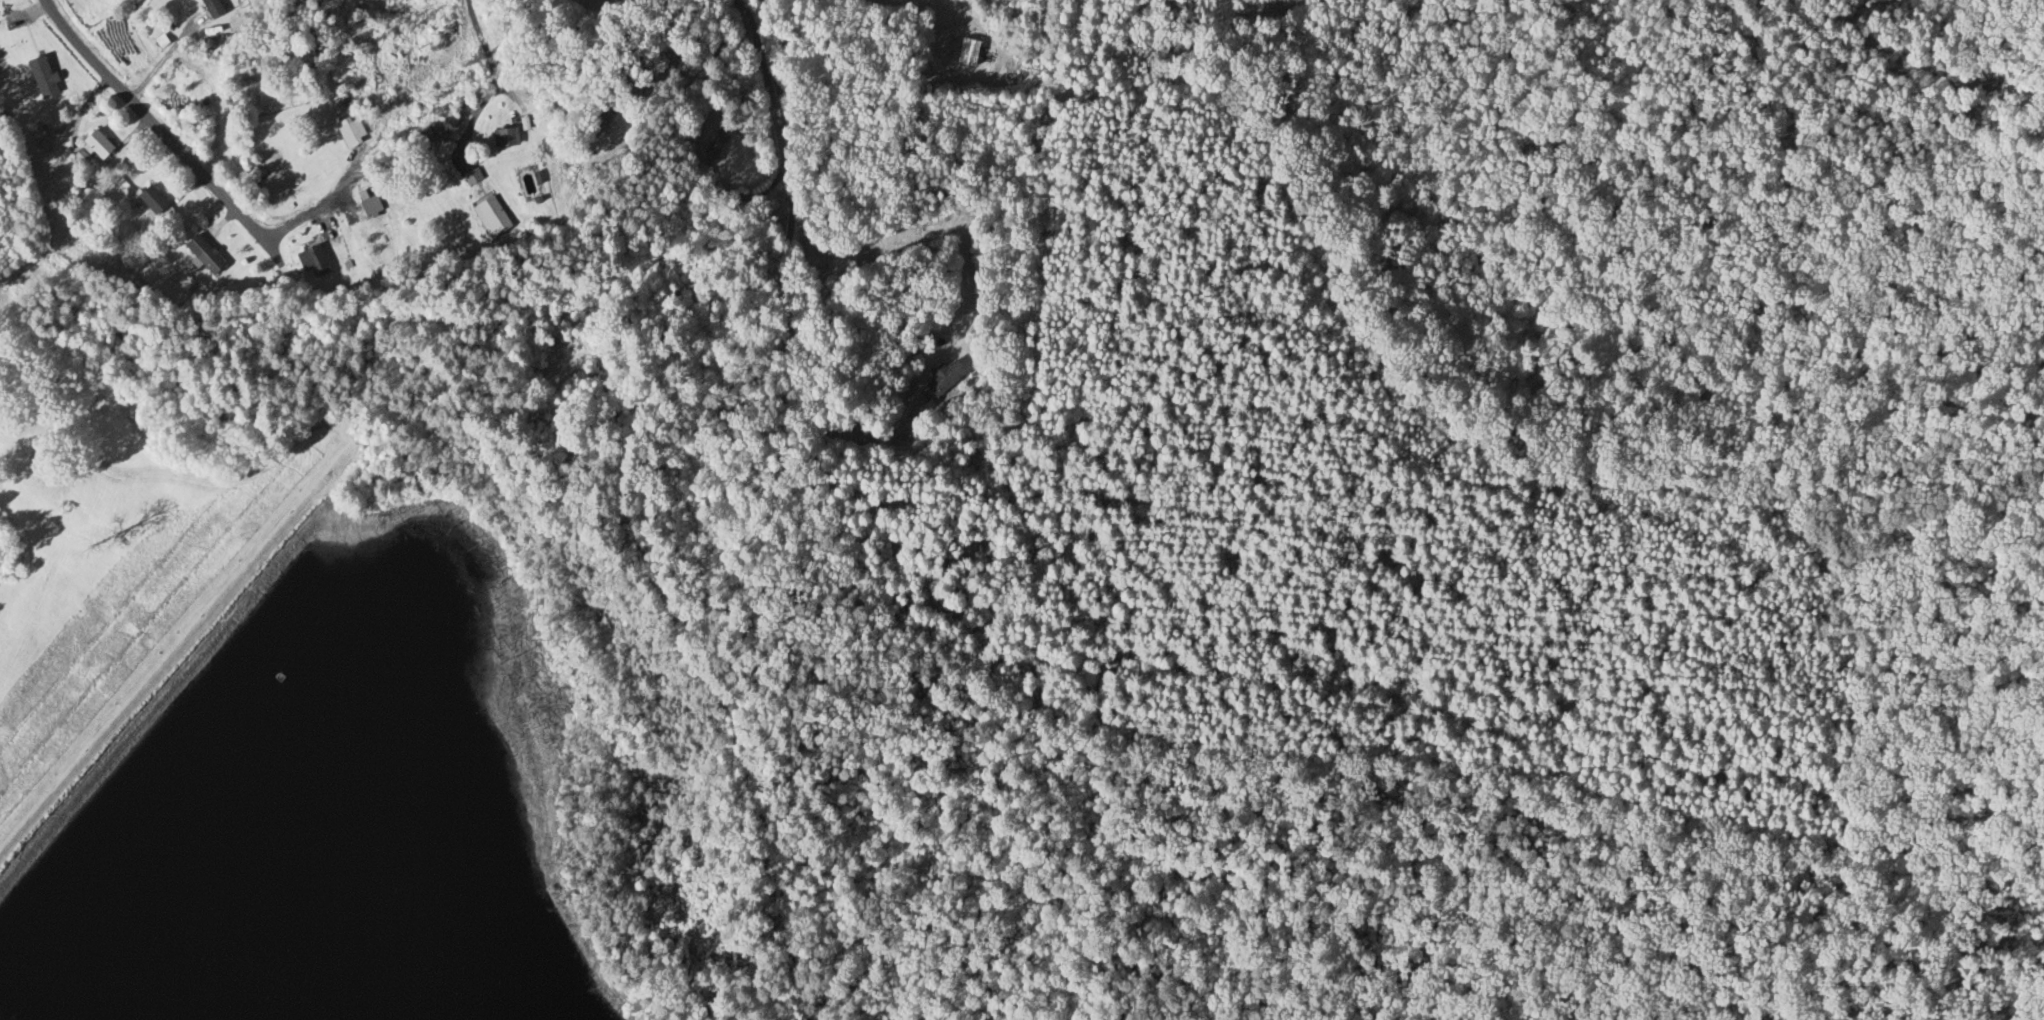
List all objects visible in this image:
building: (209, 9)
building: (235, 24)
building: (957, 44)
road: (159, 62)
road: (493, 69)
building: (39, 78)
building: (597, 112)
road: (771, 116)
building: (446, 119)
road: (148, 130)
building: (425, 133)
building: (501, 138)
building: (710, 145)
building: (94, 146)
building: (525, 184)
building: (149, 200)
road: (309, 201)
building: (366, 206)
building: (486, 217)
building: (201, 255)
building: (308, 261)
building: (941, 378)
road: (63, 396)
building: (130, 456)

